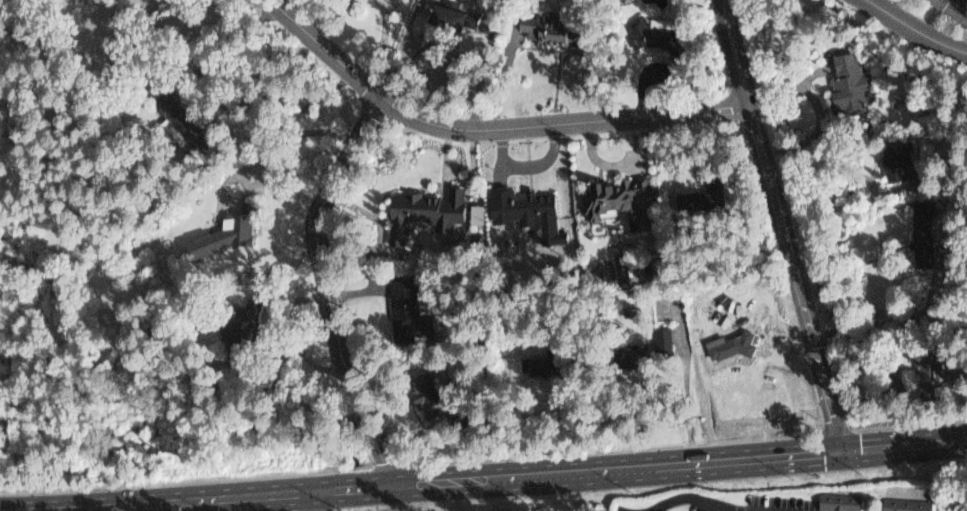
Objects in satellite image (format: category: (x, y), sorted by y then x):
road: (958, 3)
road: (956, 6)
building: (452, 12)
building: (546, 27)
building: (645, 29)
road: (916, 30)
road: (729, 52)
building: (846, 82)
building: (178, 119)
road: (486, 129)
building: (896, 160)
building: (696, 186)
building: (704, 197)
building: (612, 198)
building: (526, 203)
building: (421, 210)
building: (478, 215)
building: (221, 229)
building: (921, 232)
dam: (131, 261)
building: (623, 266)
road: (790, 276)
road: (324, 287)
building: (402, 308)
building: (632, 311)
road: (889, 320)
building: (234, 323)
dam: (87, 337)
building: (723, 339)
building: (637, 348)
building: (922, 356)
building: (534, 358)
building: (543, 364)
building: (423, 389)
building: (459, 417)
traffic signals: (838, 447)
road: (483, 476)
road: (313, 499)
road: (696, 499)
building: (834, 499)
building: (909, 501)
road: (623, 510)

